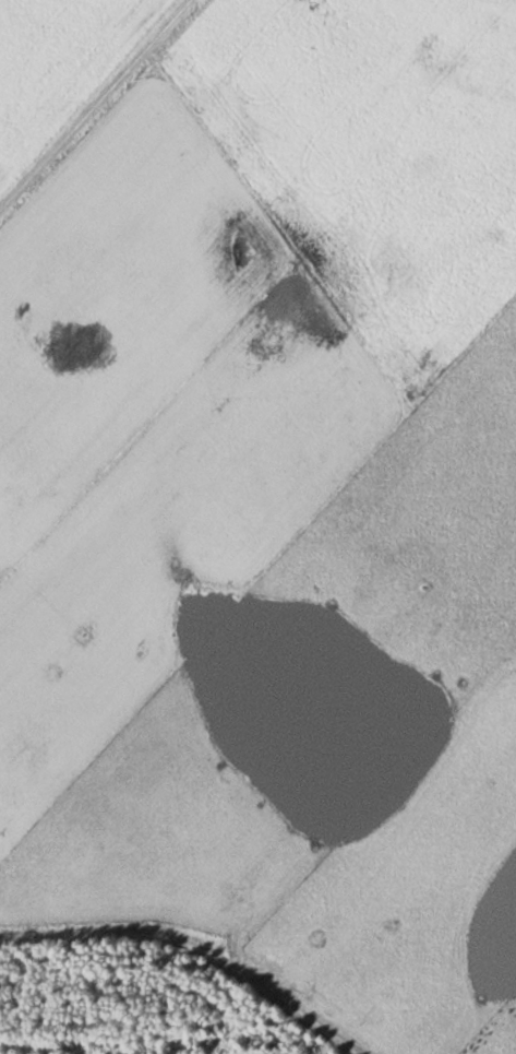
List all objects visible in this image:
road: (107, 944)

